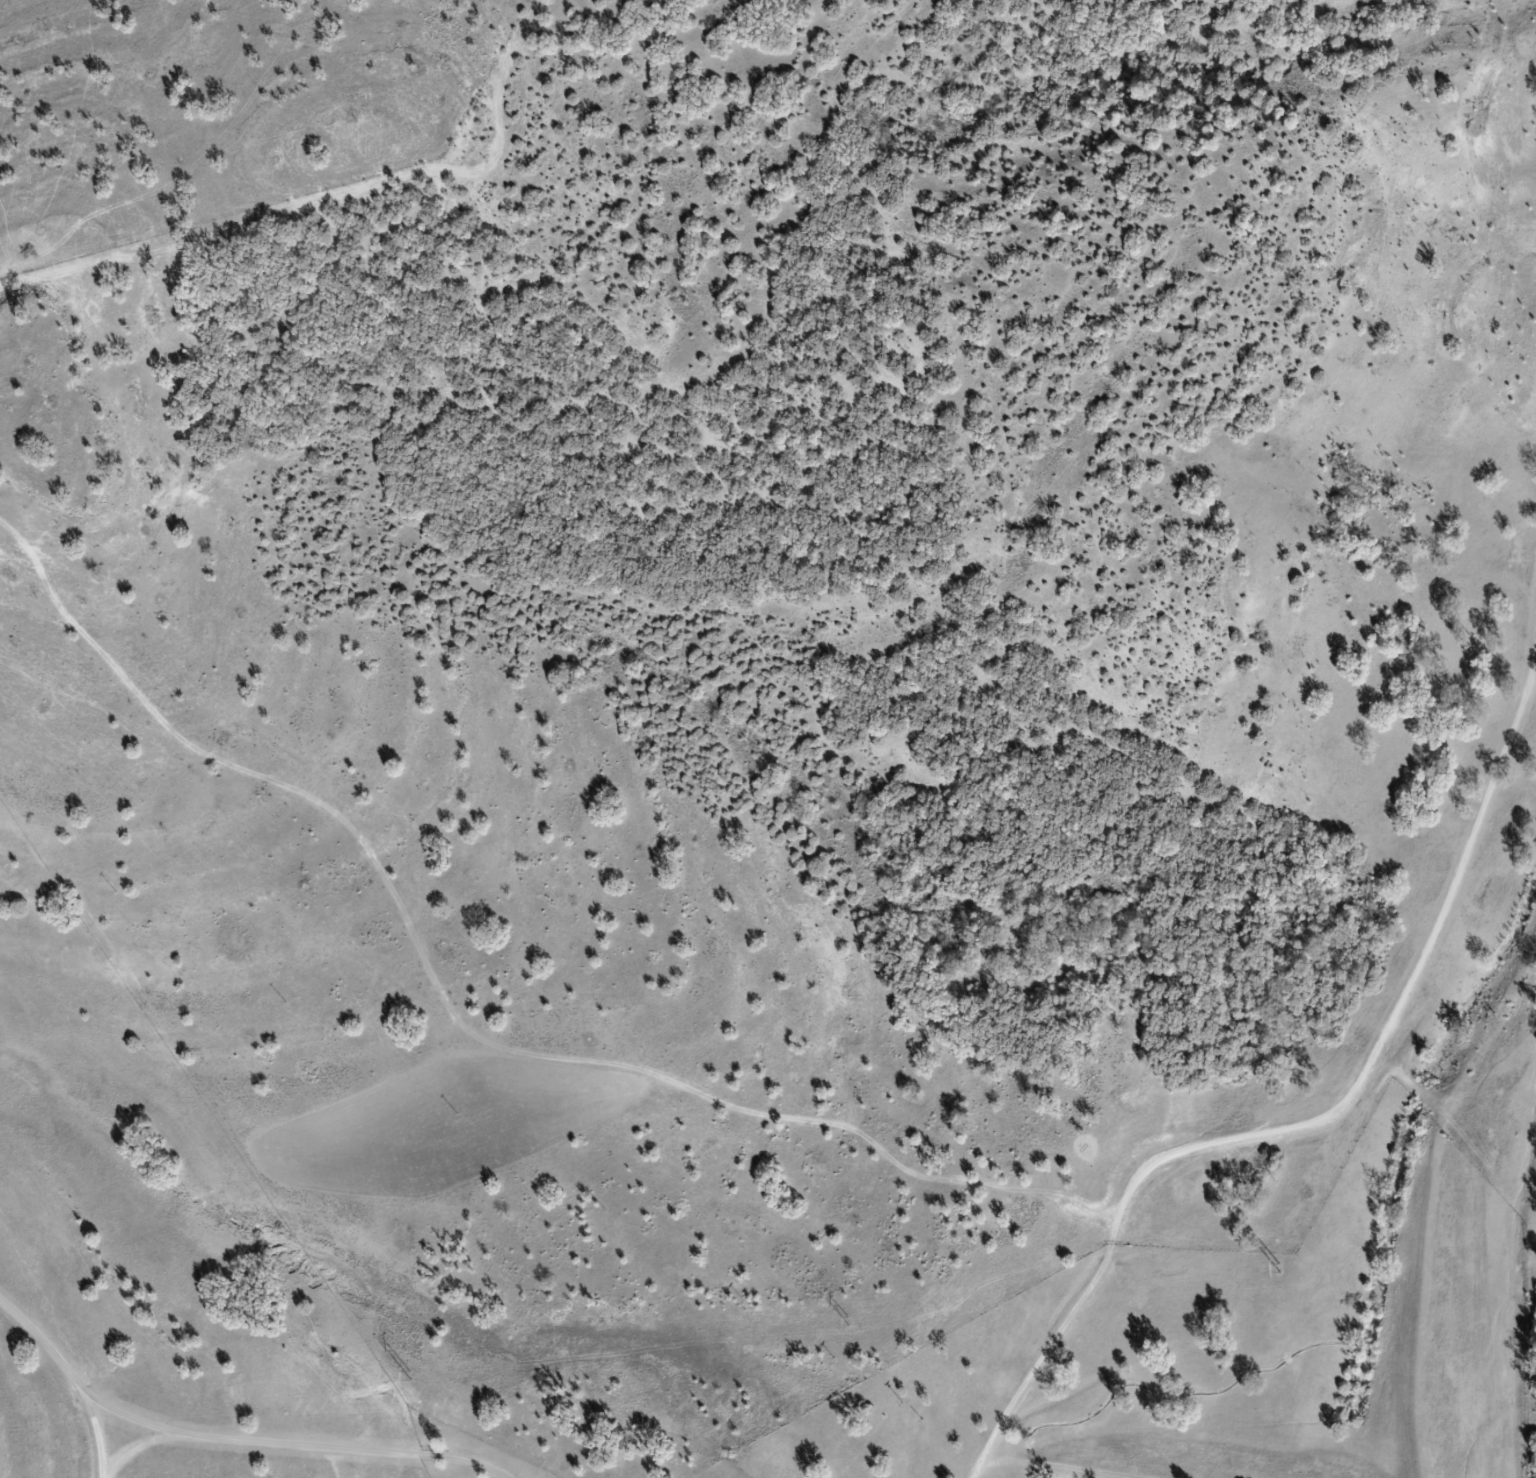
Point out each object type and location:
road: (1321, 1130)
power tower: (1280, 1267)
power tower: (849, 1320)
power tower: (411, 1375)
road: (94, 1432)
road: (230, 1442)
road: (133, 1456)

